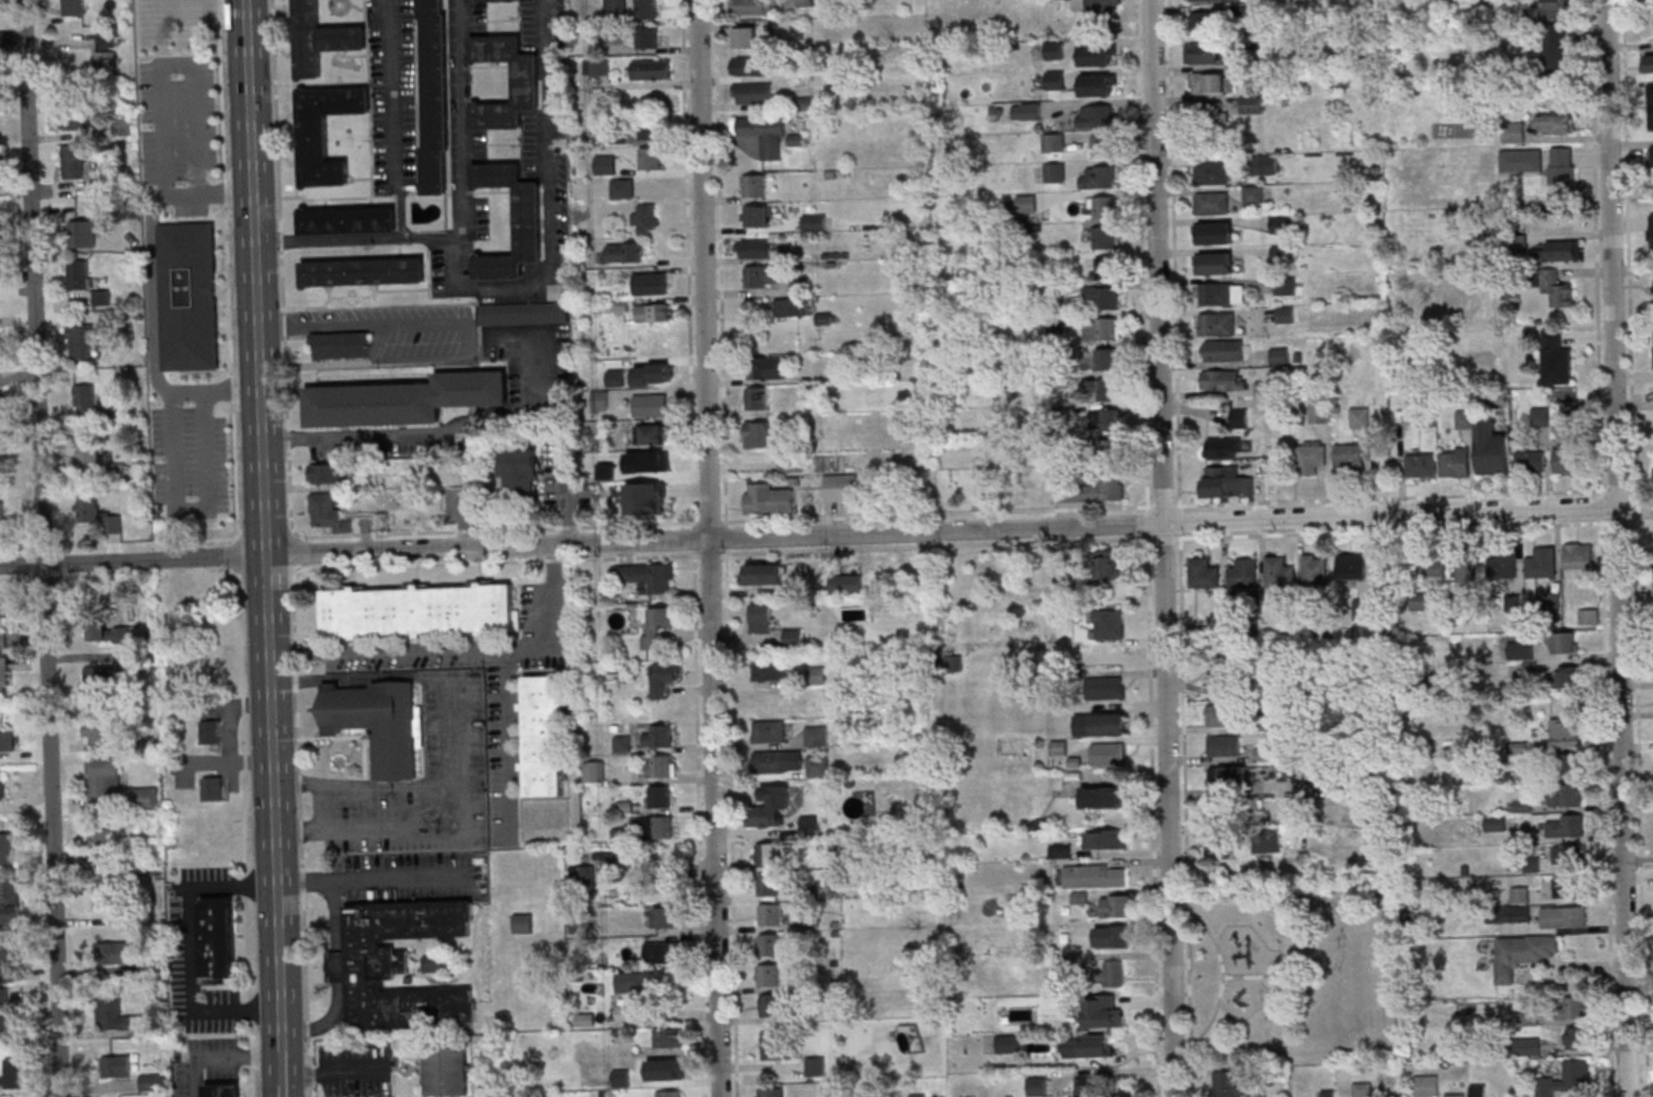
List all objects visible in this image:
building: (485, 0)
building: (1198, 0)
building: (615, 5)
building: (73, 7)
building: (751, 7)
building: (645, 8)
building: (1103, 8)
building: (1556, 9)
building: (1203, 20)
building: (1651, 22)
building: (646, 36)
building: (745, 36)
building: (321, 38)
building: (107, 39)
building: (1557, 45)
building: (1054, 49)
building: (1202, 53)
building: (1097, 55)
building: (104, 62)
building: (1646, 62)
building: (751, 66)
building: (598, 67)
building: (651, 69)
building: (1246, 72)
building: (1055, 80)
building: (528, 81)
building: (1208, 82)
building: (1097, 84)
building: (753, 92)
road: (163, 94)
building: (436, 97)
building: (1252, 103)
building: (1025, 111)
building: (1207, 114)
building: (1101, 115)
building: (78, 117)
road: (395, 119)
building: (1650, 119)
building: (1557, 123)
building: (324, 130)
building: (650, 130)
building: (762, 132)
building: (1514, 132)
building: (1053, 141)
building: (1103, 146)
building: (1652, 155)
building: (650, 158)
building: (72, 161)
building: (1522, 161)
building: (1562, 163)
building: (605, 164)
building: (1263, 164)
building: (1055, 172)
building: (1212, 172)
building: (1105, 176)
building: (753, 185)
building: (621, 187)
building: (1253, 194)
building: (1212, 201)
building: (1026, 203)
building: (1105, 207)
building: (755, 216)
road: (552, 217)
building: (529, 218)
building: (645, 218)
building: (348, 219)
building: (814, 221)
road: (464, 222)
building: (1279, 223)
building: (1216, 232)
building: (82, 233)
building: (1104, 236)
road: (1596, 246)
building: (754, 249)
building: (1563, 250)
building: (622, 252)
road: (1141, 254)
road: (1174, 254)
building: (1281, 254)
road: (720, 262)
road: (687, 263)
building: (1216, 263)
building: (1106, 267)
building: (364, 270)
building: (77, 275)
building: (762, 276)
building: (648, 282)
building: (1285, 286)
building: (1558, 288)
road: (153, 290)
building: (1221, 293)
building: (1109, 297)
building: (100, 298)
building: (616, 304)
building: (791, 307)
building: (653, 311)
building: (524, 313)
building: (1285, 314)
road: (361, 322)
building: (1217, 323)
building: (1055, 324)
building: (1106, 327)
building: (80, 342)
building: (343, 343)
building: (1225, 349)
building: (1279, 355)
building: (1106, 358)
building: (1557, 358)
building: (772, 367)
building: (1224, 380)
building: (1107, 389)
building: (1, 395)
building: (404, 397)
building: (84, 399)
building: (756, 399)
building: (598, 401)
building: (650, 404)
building: (1320, 411)
building: (1540, 415)
building: (1239, 417)
building: (1359, 417)
building: (1111, 418)
building: (1465, 418)
road: (172, 429)
road: (440, 435)
building: (648, 435)
building: (756, 435)
building: (1491, 446)
building: (1224, 448)
building: (1110, 450)
building: (1, 451)
building: (89, 452)
building: (1348, 455)
building: (1311, 458)
building: (1530, 460)
building: (1568, 460)
building: (1455, 461)
building: (791, 464)
building: (1422, 464)
building: (326, 472)
building: (519, 472)
building: (1226, 483)
building: (840, 487)
road: (1641, 487)
road: (1619, 488)
road: (566, 490)
building: (1094, 490)
road: (1416, 495)
building: (767, 499)
building: (648, 504)
road: (1198, 504)
road: (1162, 505)
road: (1603, 505)
building: (326, 511)
road: (935, 512)
building: (1, 513)
building: (96, 513)
road: (266, 515)
road: (1147, 520)
road: (709, 521)
road: (1180, 521)
road: (1612, 522)
road: (494, 529)
road: (808, 534)
road: (725, 536)
road: (693, 538)
road: (1163, 538)
road: (290, 547)
road: (711, 547)
road: (1166, 547)
road: (1619, 547)
road: (44, 548)
road: (1634, 548)
road: (710, 554)
building: (1577, 555)
road: (494, 561)
building: (1542, 563)
building: (1106, 565)
building: (1503, 565)
building: (1352, 567)
building: (1431, 569)
road: (264, 570)
building: (1468, 570)
building: (764, 573)
building: (1278, 573)
building: (1315, 573)
building: (1204, 574)
building: (1243, 574)
building: (647, 576)
building: (847, 584)
building: (4, 604)
building: (420, 610)
building: (1587, 616)
building: (760, 619)
building: (656, 624)
building: (1111, 624)
building: (104, 628)
building: (792, 637)
building: (3, 638)
building: (1563, 643)
road: (462, 647)
building: (1522, 651)
building: (769, 670)
building: (2, 671)
building: (1225, 672)
building: (1529, 672)
building: (100, 674)
building: (662, 677)
building: (1568, 678)
building: (1104, 688)
building: (1225, 716)
building: (378, 721)
road: (455, 724)
building: (1101, 724)
building: (768, 730)
building: (95, 731)
building: (209, 731)
building: (543, 735)
building: (816, 735)
building: (1565, 735)
building: (658, 736)
road: (509, 737)
building: (7, 739)
building: (1224, 746)
building: (1107, 753)
building: (779, 761)
building: (658, 765)
building: (818, 765)
building: (1565, 765)
building: (594, 770)
building: (1232, 774)
building: (103, 777)
building: (1, 784)
building: (211, 787)
building: (659, 796)
building: (1105, 796)
building: (1565, 796)
building: (142, 797)
building: (770, 806)
building: (1522, 806)
road: (1608, 807)
road: (1152, 813)
road: (1185, 813)
road: (699, 822)
road: (731, 822)
building: (1495, 823)
building: (655, 827)
building: (1565, 827)
road: (394, 828)
road: (242, 834)
building: (99, 838)
building: (1106, 839)
building: (1215, 842)
building: (8, 847)
building: (1061, 851)
building: (767, 855)
building: (1566, 856)
building: (1095, 875)
road: (369, 878)
building: (768, 885)
building: (104, 887)
building: (1563, 887)
building: (1519, 894)
building: (9, 900)
building: (1116, 905)
building: (1508, 913)
building: (769, 914)
building: (668, 916)
building: (1563, 917)
building: (523, 923)
building: (1113, 936)
building: (217, 939)
building: (769, 945)
road: (194, 949)
building: (111, 951)
building: (662, 951)
building: (1522, 954)
building: (5, 961)
building: (432, 962)
building: (361, 965)
park: (1293, 972)
building: (1113, 973)
road: (340, 975)
building: (768, 975)
road: (1225, 977)
road: (1253, 977)
building: (638, 981)
building: (770, 1004)
building: (1574, 1006)
building: (625, 1012)
building: (1103, 1012)
building: (7, 1016)
building: (114, 1016)
building: (668, 1036)
building: (1576, 1037)
building: (1009, 1043)
building: (777, 1044)
building: (1087, 1046)
building: (1529, 1046)
building: (621, 1054)
road: (220, 1058)
road: (283, 1063)
building: (116, 1065)
building: (815, 1066)
building: (447, 1069)
road: (335, 1072)
building: (11, 1073)
building: (1568, 1078)
building: (150, 1082)
building: (1229, 1084)
building: (1426, 1085)
building: (1084, 1086)
building: (1036, 1087)
building: (223, 1089)
building: (1362, 1089)
building: (1479, 1090)
building: (769, 1092)
building: (669, 1093)
building: (1328, 1093)
building: (917, 1095)
building: (1455, 1095)

